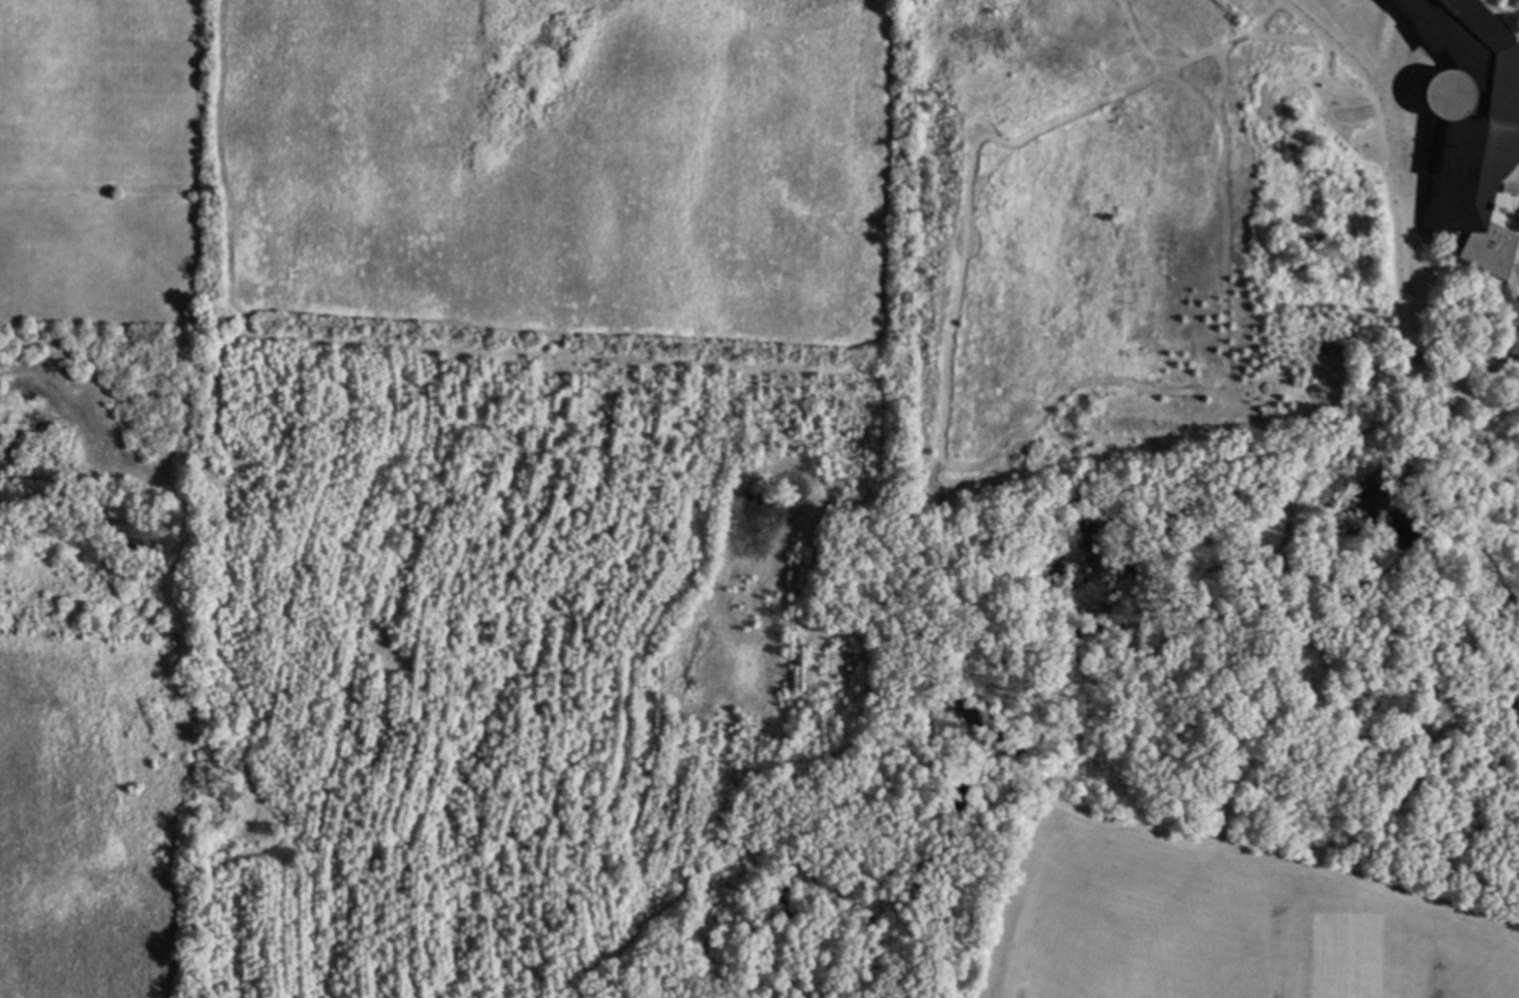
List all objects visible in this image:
building: (1471, 126)
crop: (450, 163)
road: (1515, 306)
crop: (89, 812)
park: (1349, 956)
park: (1080, 960)

